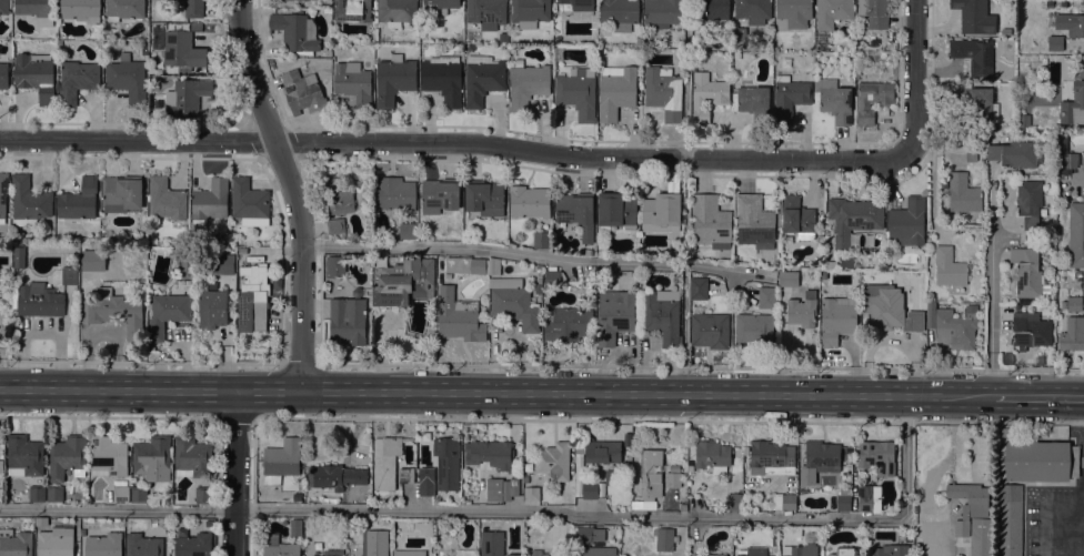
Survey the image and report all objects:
building: (282, 0)
building: (1023, 3)
building: (1064, 3)
building: (579, 4)
building: (4, 7)
building: (439, 7)
building: (80, 9)
building: (124, 9)
building: (194, 9)
building: (353, 10)
building: (753, 10)
building: (38, 11)
building: (397, 12)
building: (488, 12)
building: (530, 12)
building: (713, 12)
building: (832, 12)
building: (874, 12)
building: (620, 13)
building: (662, 13)
building: (793, 13)
building: (974, 17)
building: (1071, 23)
building: (1006, 31)
building: (295, 32)
building: (740, 34)
building: (1055, 43)
building: (741, 44)
building: (727, 46)
building: (182, 51)
building: (736, 55)
building: (974, 55)
building: (3, 75)
building: (36, 75)
building: (394, 79)
building: (443, 79)
building: (482, 79)
road: (916, 80)
building: (77, 81)
building: (128, 81)
building: (353, 83)
building: (526, 83)
building: (615, 91)
building: (302, 92)
building: (663, 92)
building: (576, 94)
building: (187, 97)
building: (706, 97)
building: (752, 98)
building: (789, 98)
building: (872, 100)
building: (834, 101)
building: (977, 102)
building: (1073, 105)
building: (153, 117)
building: (1024, 121)
road: (458, 142)
building: (1015, 153)
building: (971, 154)
building: (1064, 155)
road: (292, 191)
building: (395, 193)
building: (120, 194)
building: (963, 194)
building: (3, 195)
building: (338, 195)
building: (439, 195)
building: (484, 198)
building: (248, 200)
building: (29, 201)
building: (79, 201)
building: (167, 201)
building: (210, 202)
building: (529, 202)
building: (1028, 202)
building: (616, 211)
building: (661, 213)
building: (576, 214)
building: (797, 219)
building: (853, 219)
building: (711, 222)
building: (754, 222)
building: (907, 222)
building: (369, 223)
building: (335, 225)
building: (408, 231)
building: (1076, 235)
building: (541, 240)
building: (1048, 245)
building: (588, 252)
road: (524, 256)
building: (19, 257)
building: (92, 260)
building: (845, 262)
building: (222, 264)
building: (333, 264)
building: (465, 265)
building: (494, 266)
building: (948, 267)
building: (1026, 272)
building: (69, 275)
building: (540, 277)
building: (553, 279)
building: (787, 279)
building: (403, 282)
building: (697, 289)
building: (367, 292)
building: (766, 297)
building: (252, 299)
building: (39, 301)
building: (513, 302)
road: (991, 304)
building: (1072, 304)
building: (212, 306)
building: (169, 309)
building: (803, 310)
building: (889, 310)
building: (116, 312)
building: (614, 315)
building: (662, 315)
building: (3, 317)
building: (458, 317)
building: (837, 319)
building: (348, 321)
building: (566, 323)
building: (952, 327)
building: (1030, 330)
building: (710, 331)
building: (754, 331)
building: (1072, 334)
road: (117, 390)
road: (243, 391)
road: (268, 391)
road: (292, 391)
road: (643, 393)
road: (1035, 396)
road: (108, 417)
road: (234, 418)
road: (669, 419)
building: (1003, 432)
building: (489, 453)
building: (601, 454)
building: (771, 454)
building: (821, 454)
building: (152, 455)
building: (23, 456)
building: (712, 456)
building: (877, 456)
building: (67, 457)
building: (108, 457)
building: (192, 457)
building: (281, 461)
building: (385, 461)
building: (1041, 461)
building: (553, 462)
building: (446, 463)
building: (0, 466)
road: (234, 473)
building: (405, 475)
building: (650, 475)
building: (334, 476)
building: (525, 479)
building: (610, 479)
building: (673, 479)
building: (425, 482)
building: (501, 489)
building: (590, 489)
building: (37, 494)
building: (54, 494)
building: (121, 494)
building: (139, 494)
building: (531, 494)
building: (203, 495)
building: (865, 496)
building: (843, 499)
building: (733, 502)
building: (789, 502)
building: (968, 505)
building: (683, 507)
road: (117, 510)
road: (1043, 510)
road: (632, 517)
building: (1008, 520)
building: (77, 524)
building: (295, 527)
building: (793, 532)
building: (589, 535)
building: (981, 537)
building: (664, 539)
road: (934, 540)
building: (16, 543)
building: (377, 543)
building: (492, 544)
building: (54, 545)
building: (104, 545)
building: (143, 545)
building: (193, 545)
building: (279, 547)
building: (598, 550)
building: (801, 550)
building: (891, 550)
building: (753, 552)
building: (844, 552)
building: (409, 553)
building: (464, 553)
building: (533, 553)
building: (318, 555)
building: (705, 555)

